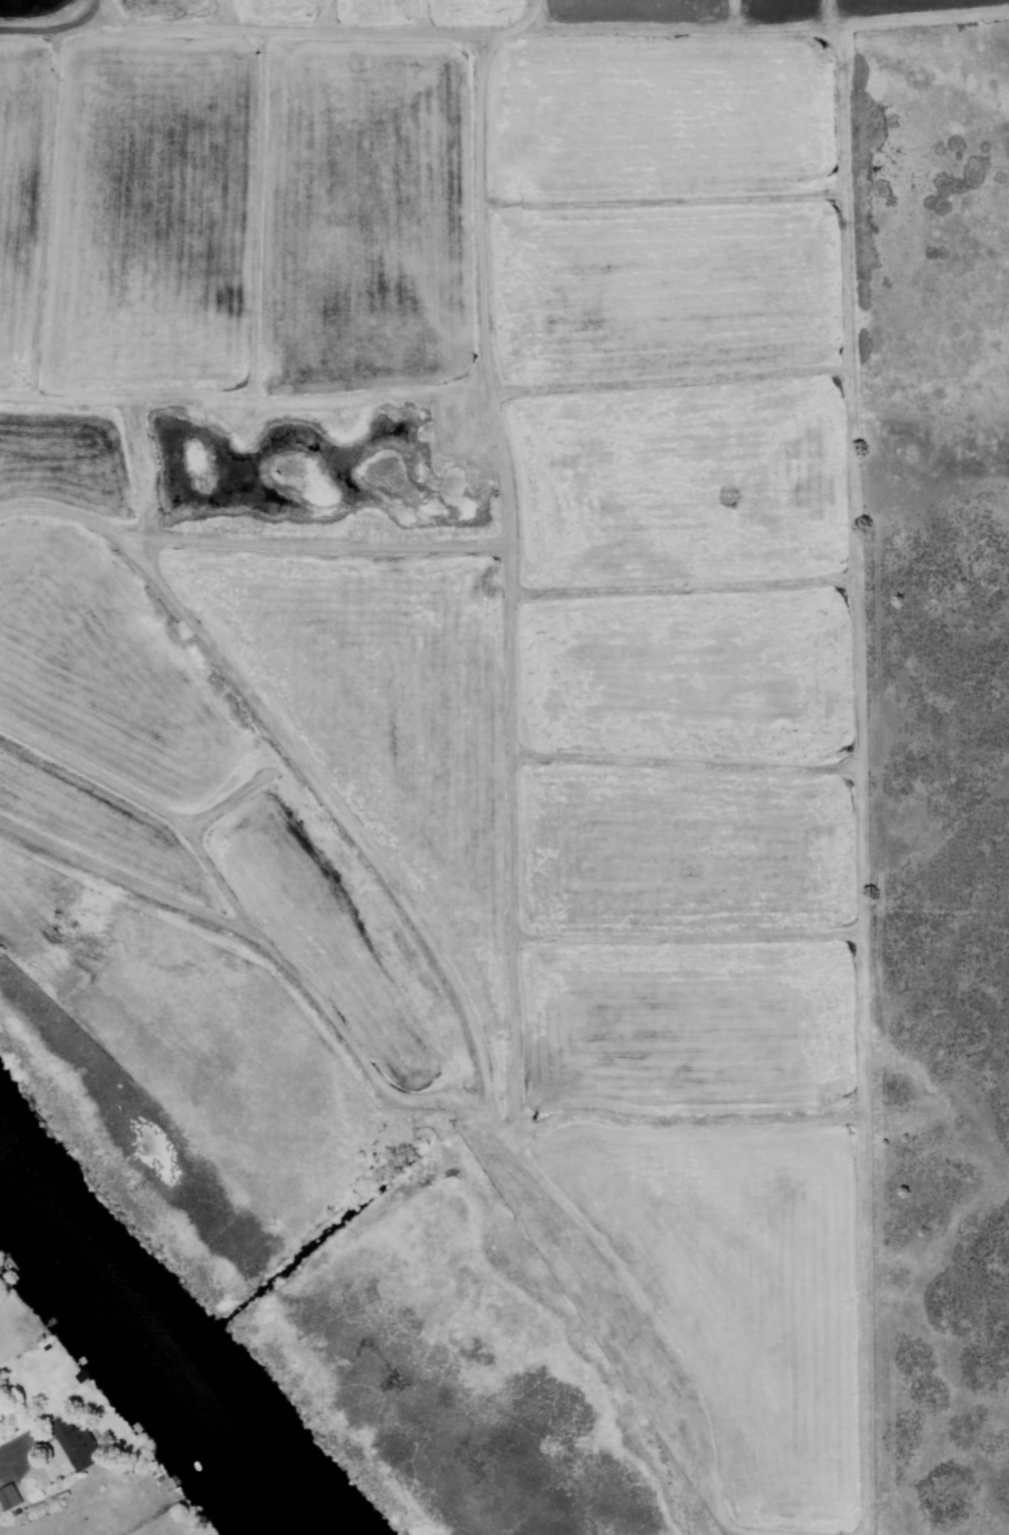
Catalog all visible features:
river: (151, 1358)
building: (71, 1443)
building: (7, 1497)

